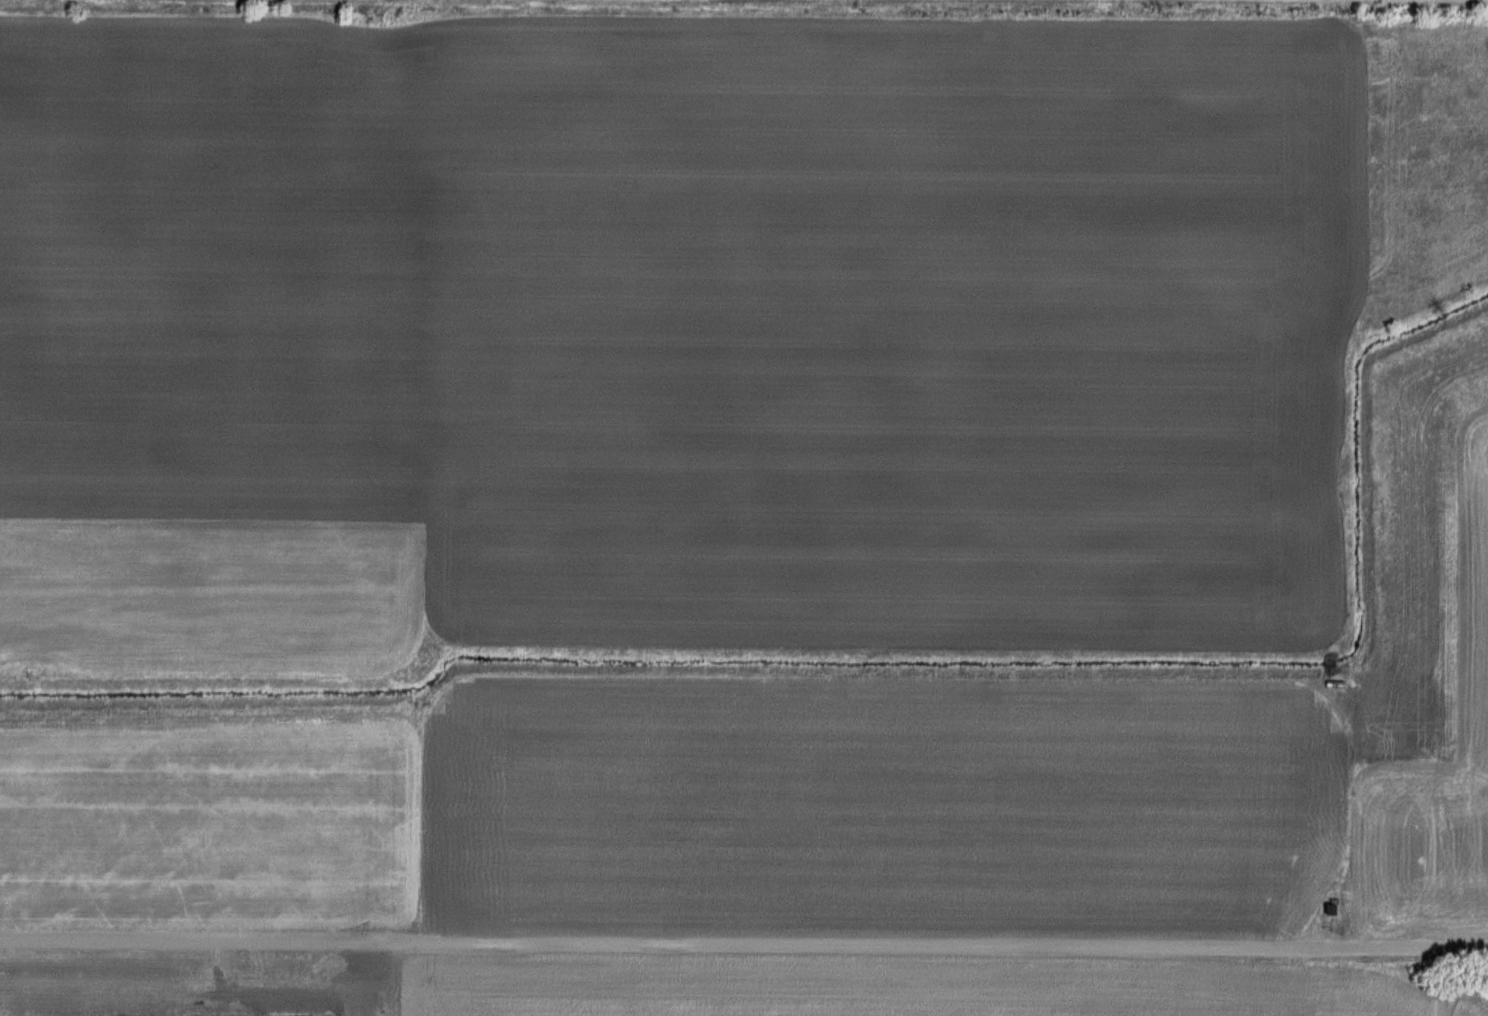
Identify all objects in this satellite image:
building: (1330, 909)
road: (744, 940)

